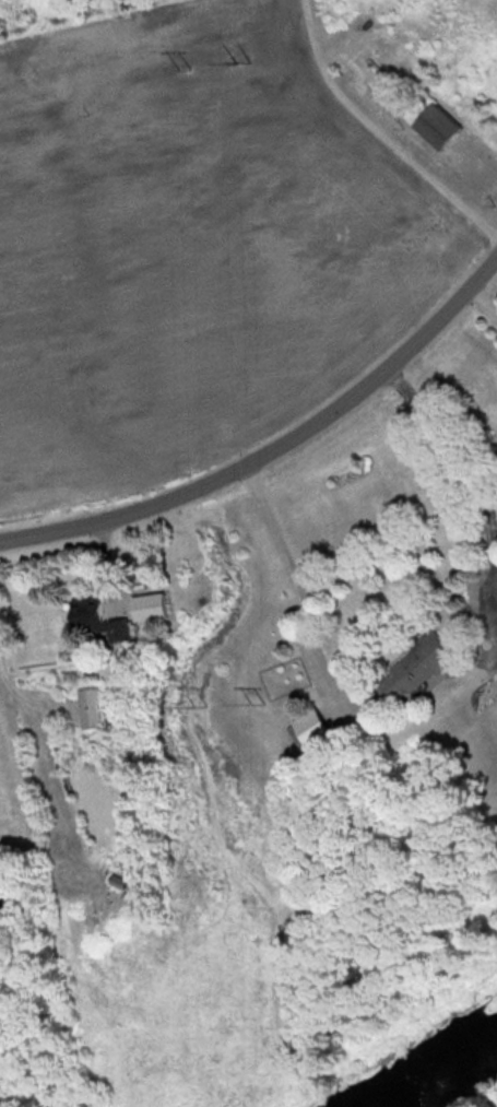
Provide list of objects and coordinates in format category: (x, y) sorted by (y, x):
power tower: (184, 67)
power tower: (241, 70)
building: (439, 122)
road: (374, 137)
road: (275, 457)
road: (473, 472)
road: (304, 593)
building: (156, 605)
building: (98, 619)
building: (422, 667)
power tower: (256, 703)
power tower: (200, 705)
building: (93, 707)
road: (3, 888)
building: (1, 917)
river: (441, 1075)

